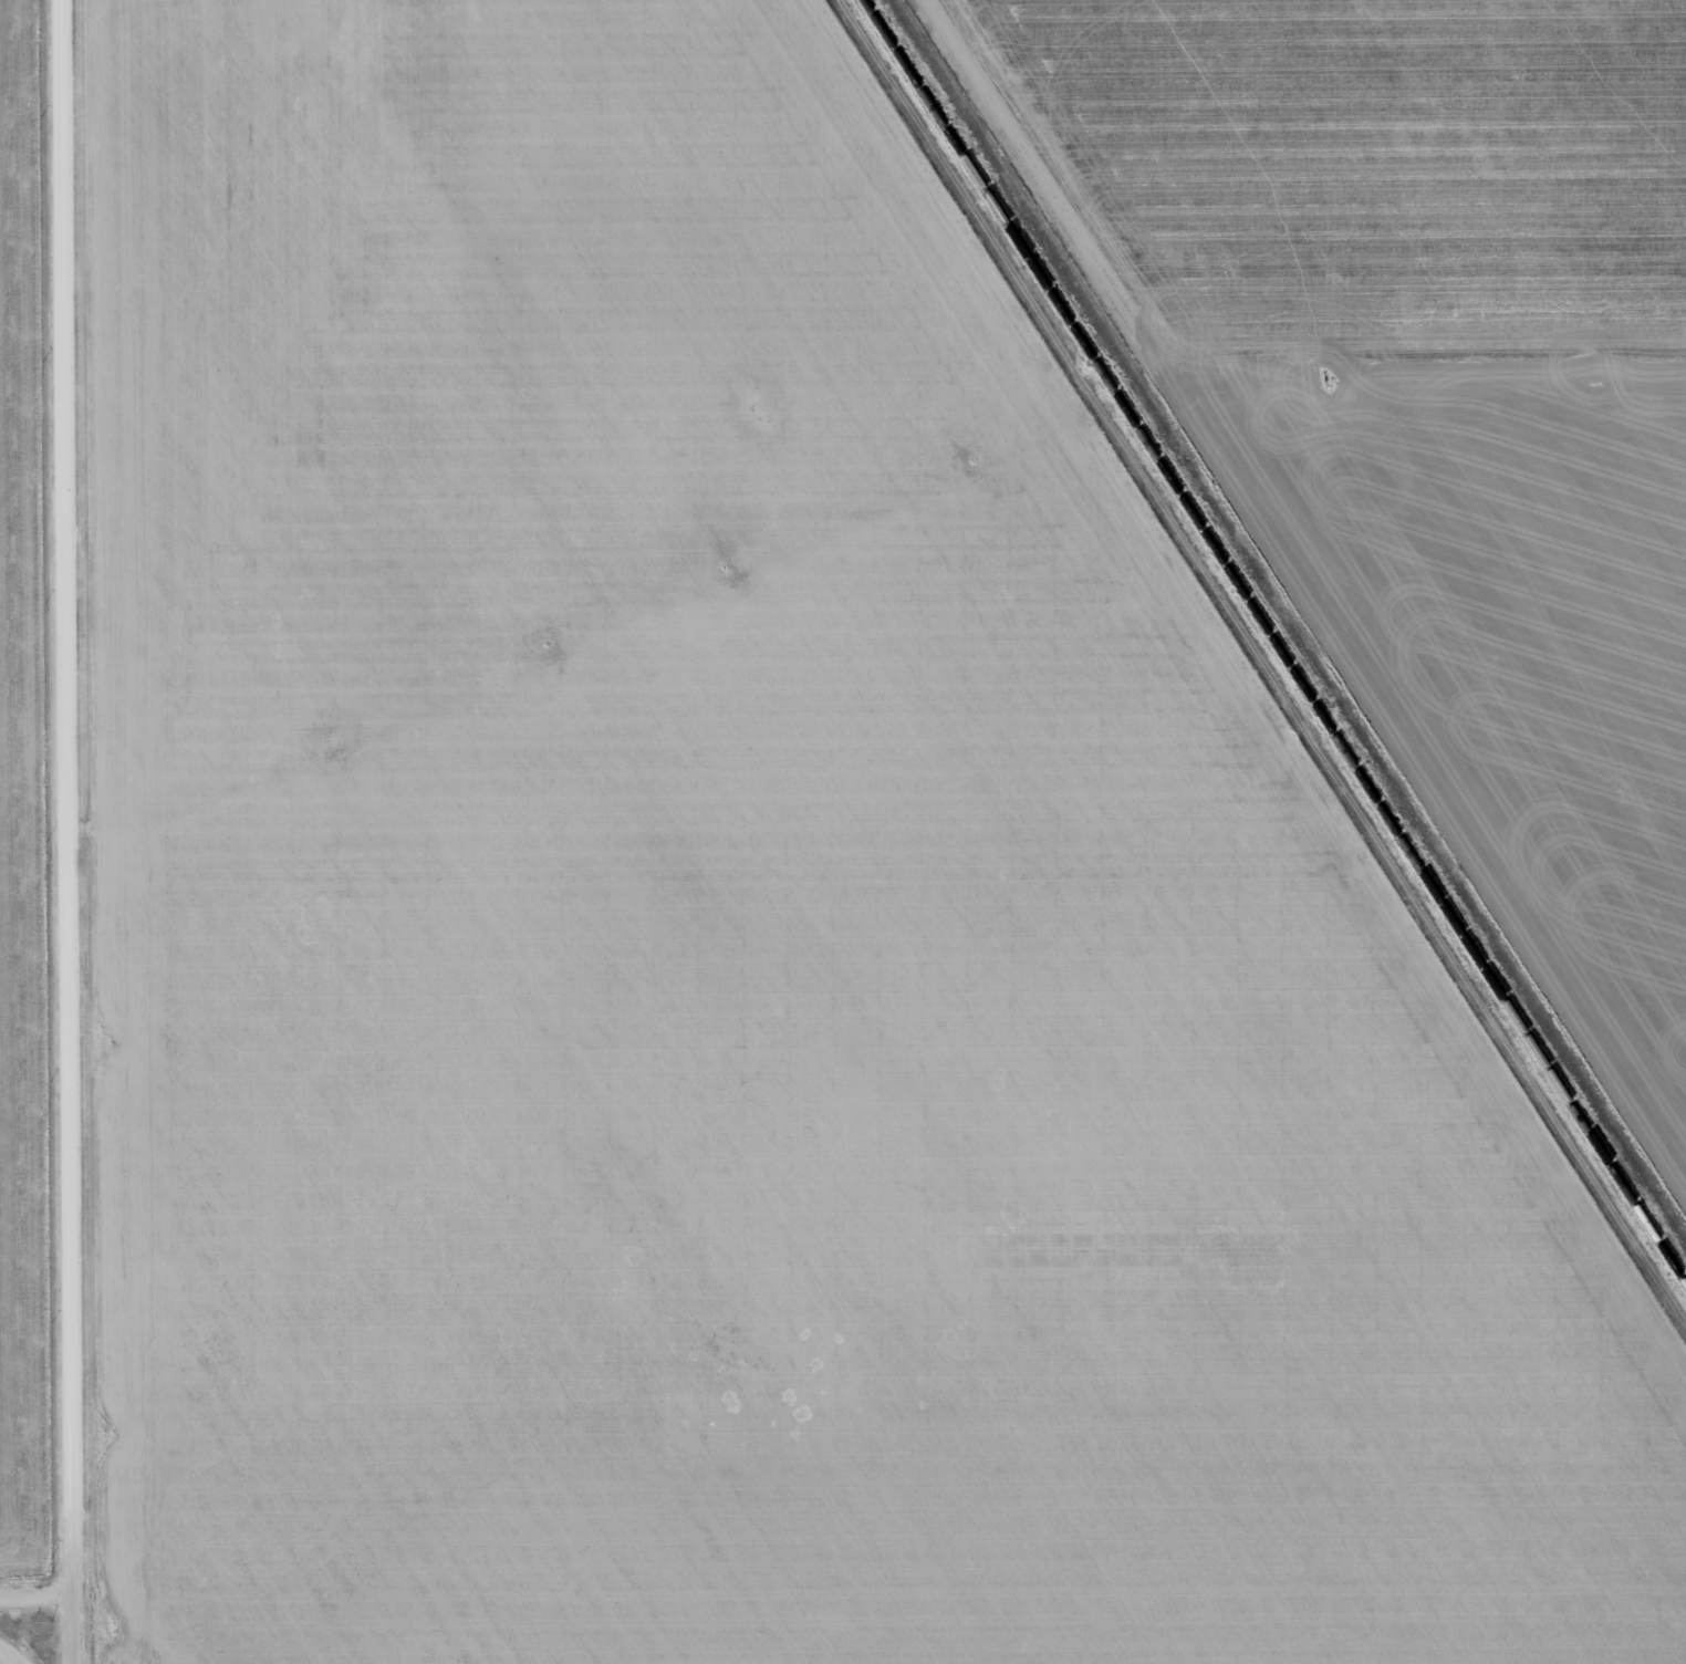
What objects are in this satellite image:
railway: (1274, 642)
road: (64, 832)
road: (35, 1599)
road: (7, 1658)

